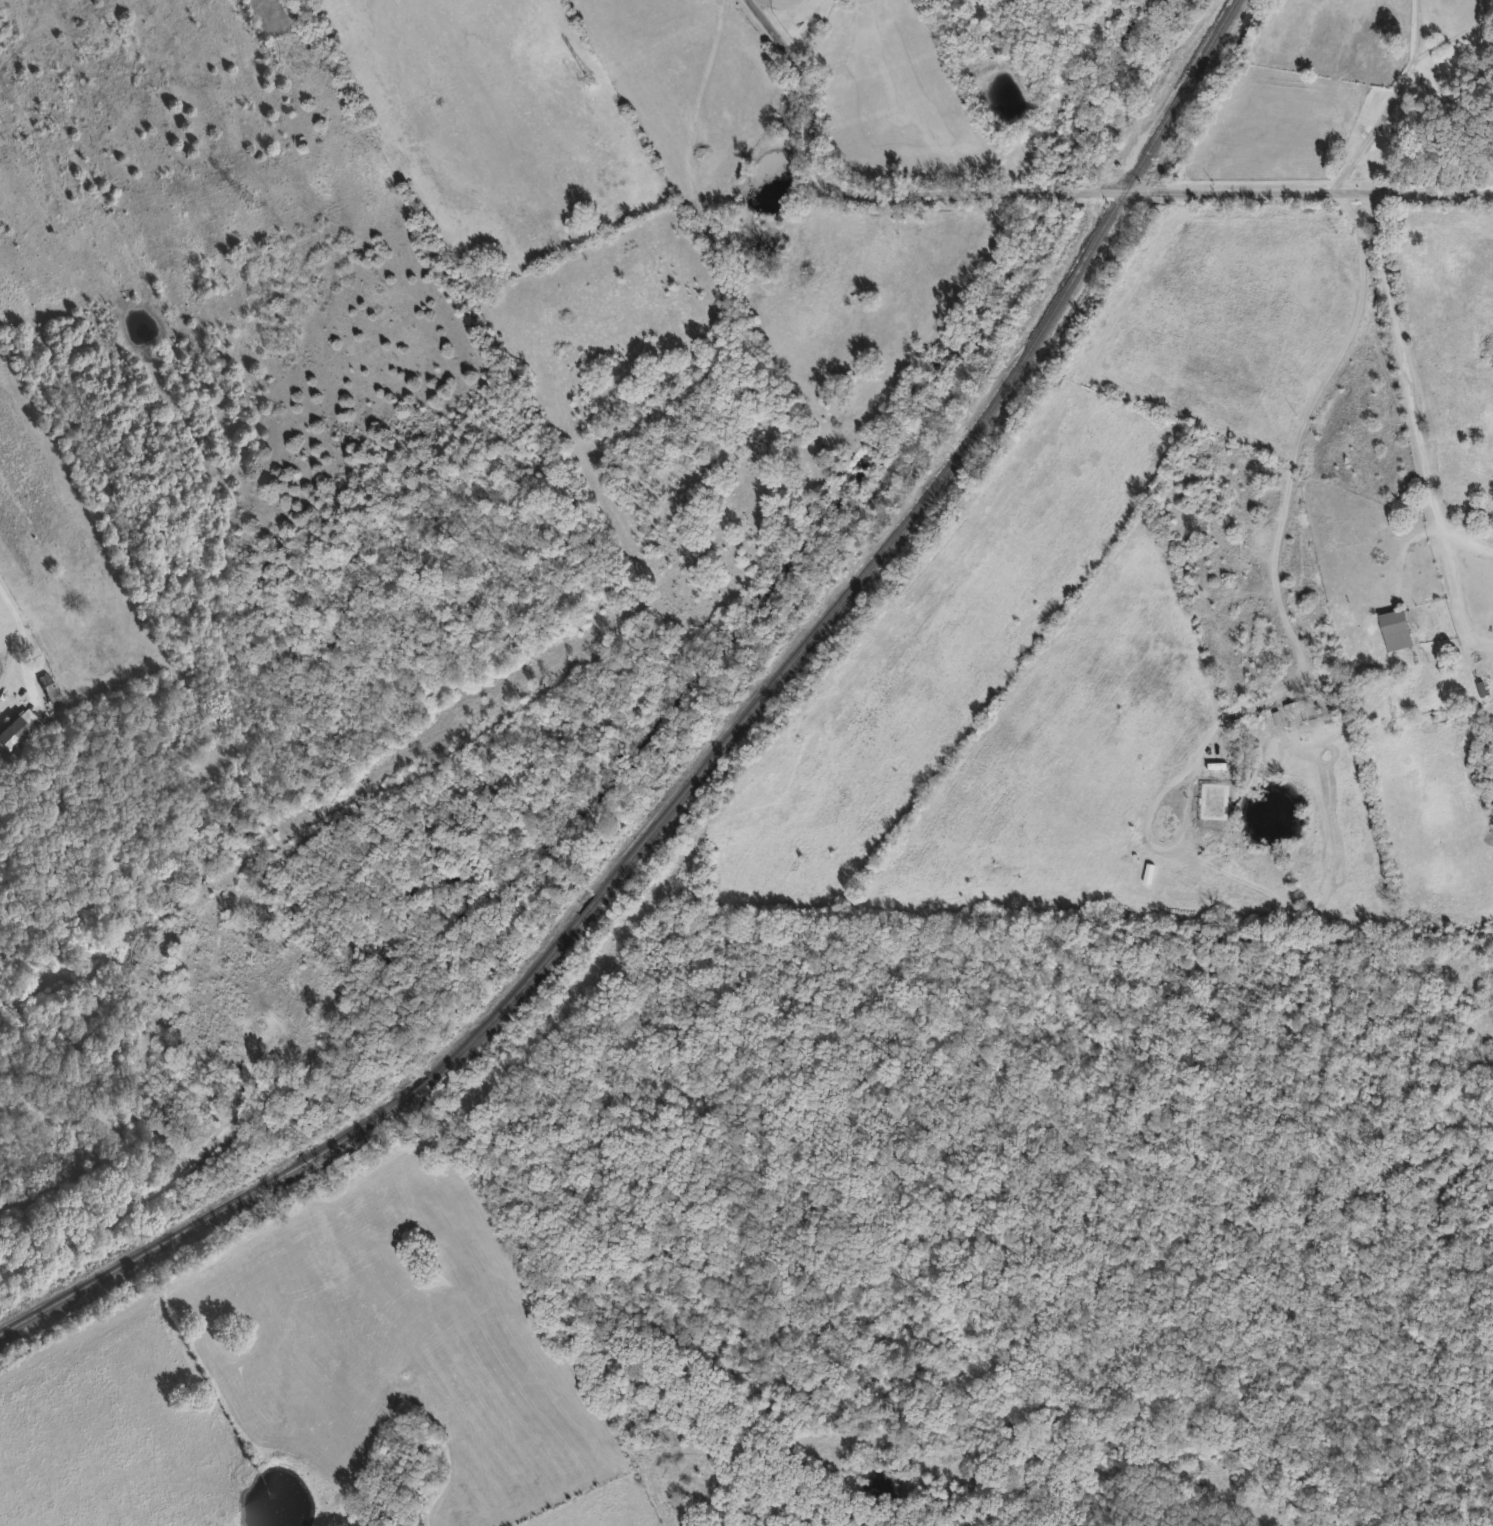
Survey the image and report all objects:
road: (785, 0)
road: (1455, 33)
power tower: (589, 78)
road: (811, 90)
road: (1393, 101)
building: (1420, 147)
road: (1167, 192)
power tower: (250, 203)
road: (832, 207)
road: (1406, 362)
railway: (1016, 369)
building: (1268, 496)
road: (1486, 536)
road: (1454, 569)
road: (1282, 600)
building: (1395, 628)
road: (25, 635)
building: (46, 686)
building: (15, 725)
railway: (674, 800)
railway: (589, 904)
railway: (508, 997)
railway: (419, 1084)
railway: (206, 1215)

